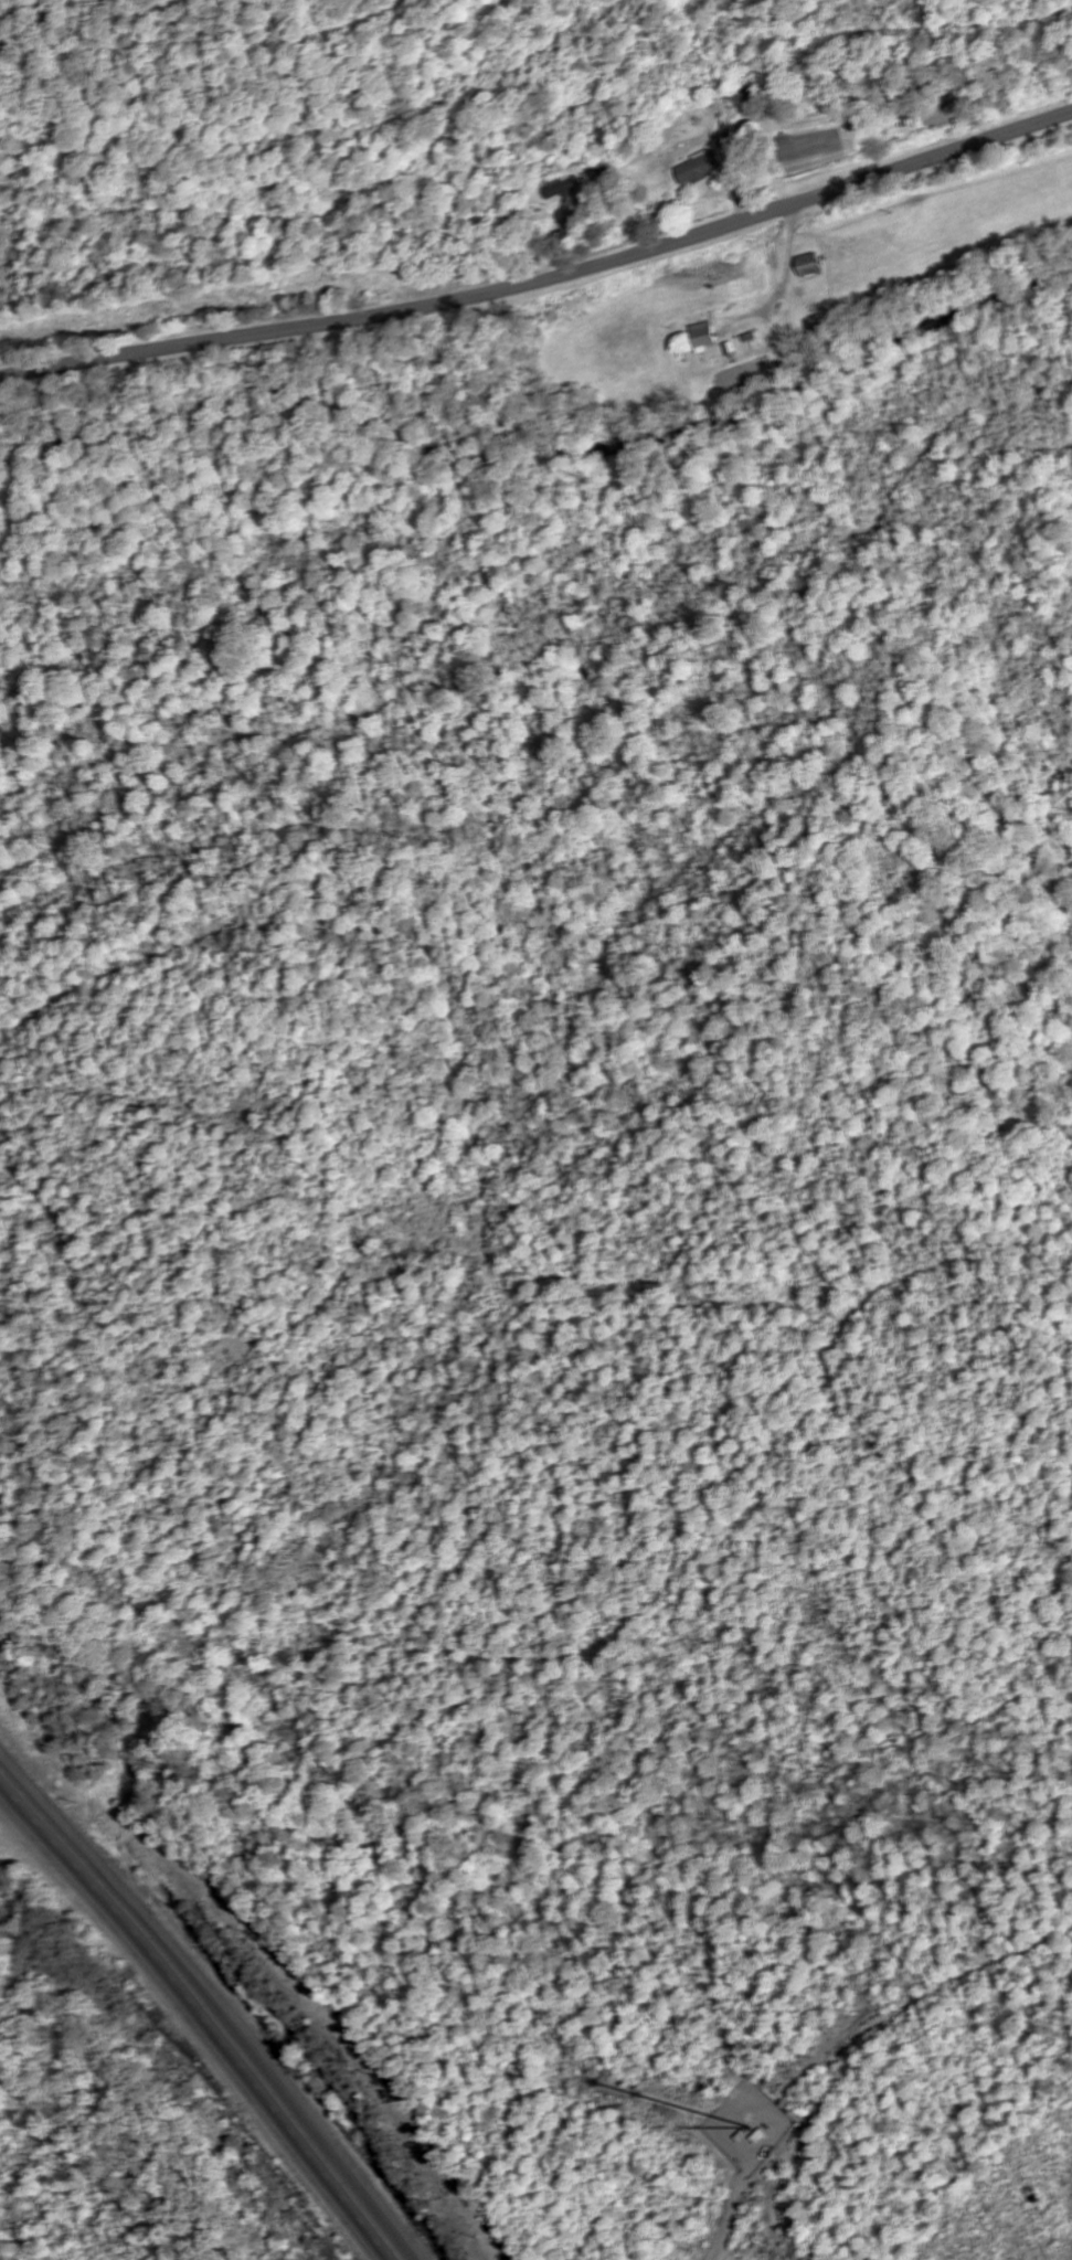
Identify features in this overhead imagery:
building: (698, 171)
road: (544, 280)
road: (192, 2010)
road: (729, 2219)

